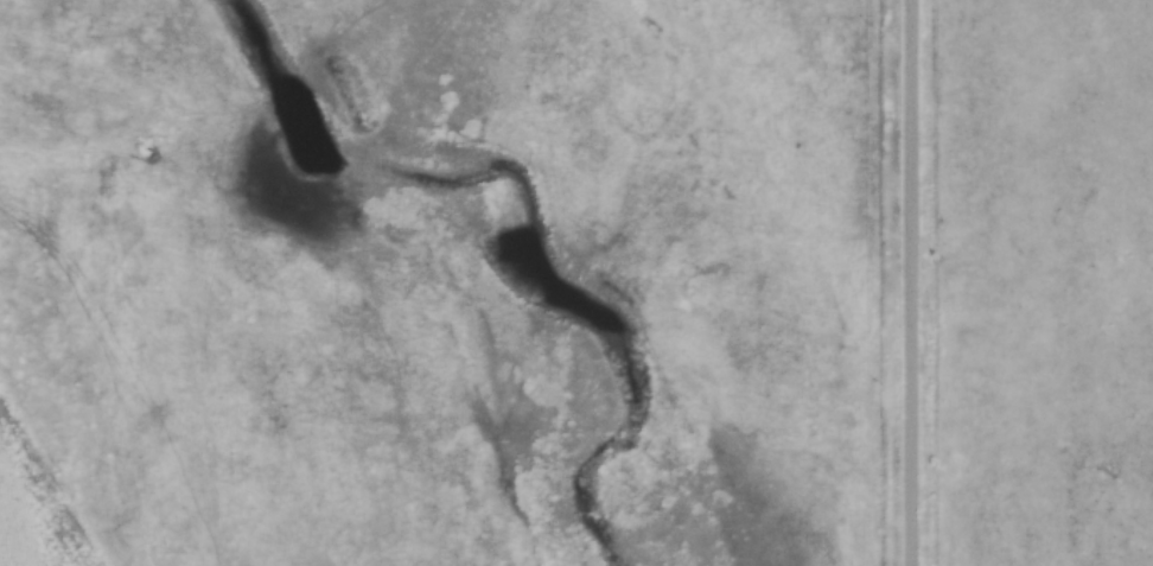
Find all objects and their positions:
road: (915, 282)

